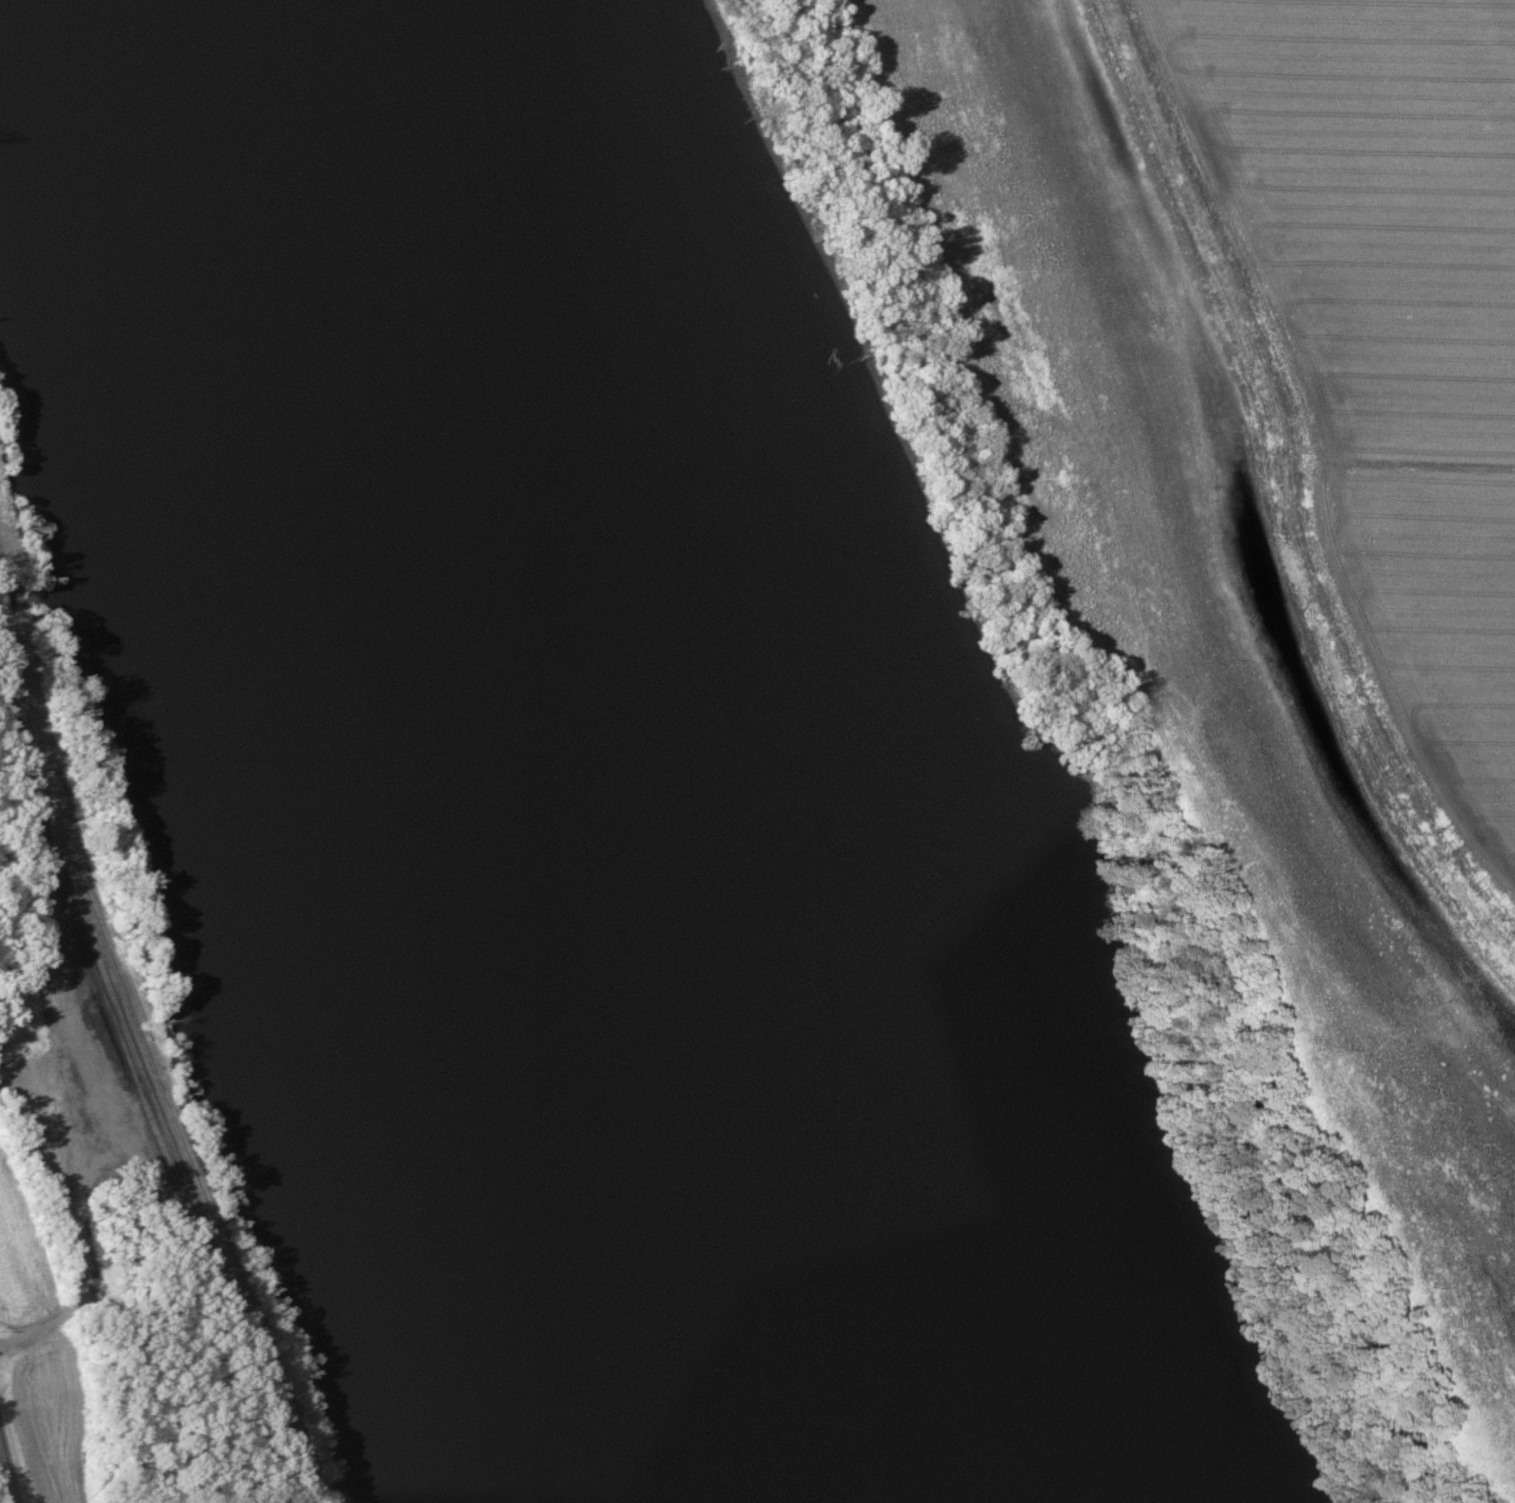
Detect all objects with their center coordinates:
river: (612, 751)
railway: (42, 786)
railway: (129, 1081)
railway: (195, 1228)
road: (72, 1298)
road: (5, 1478)

